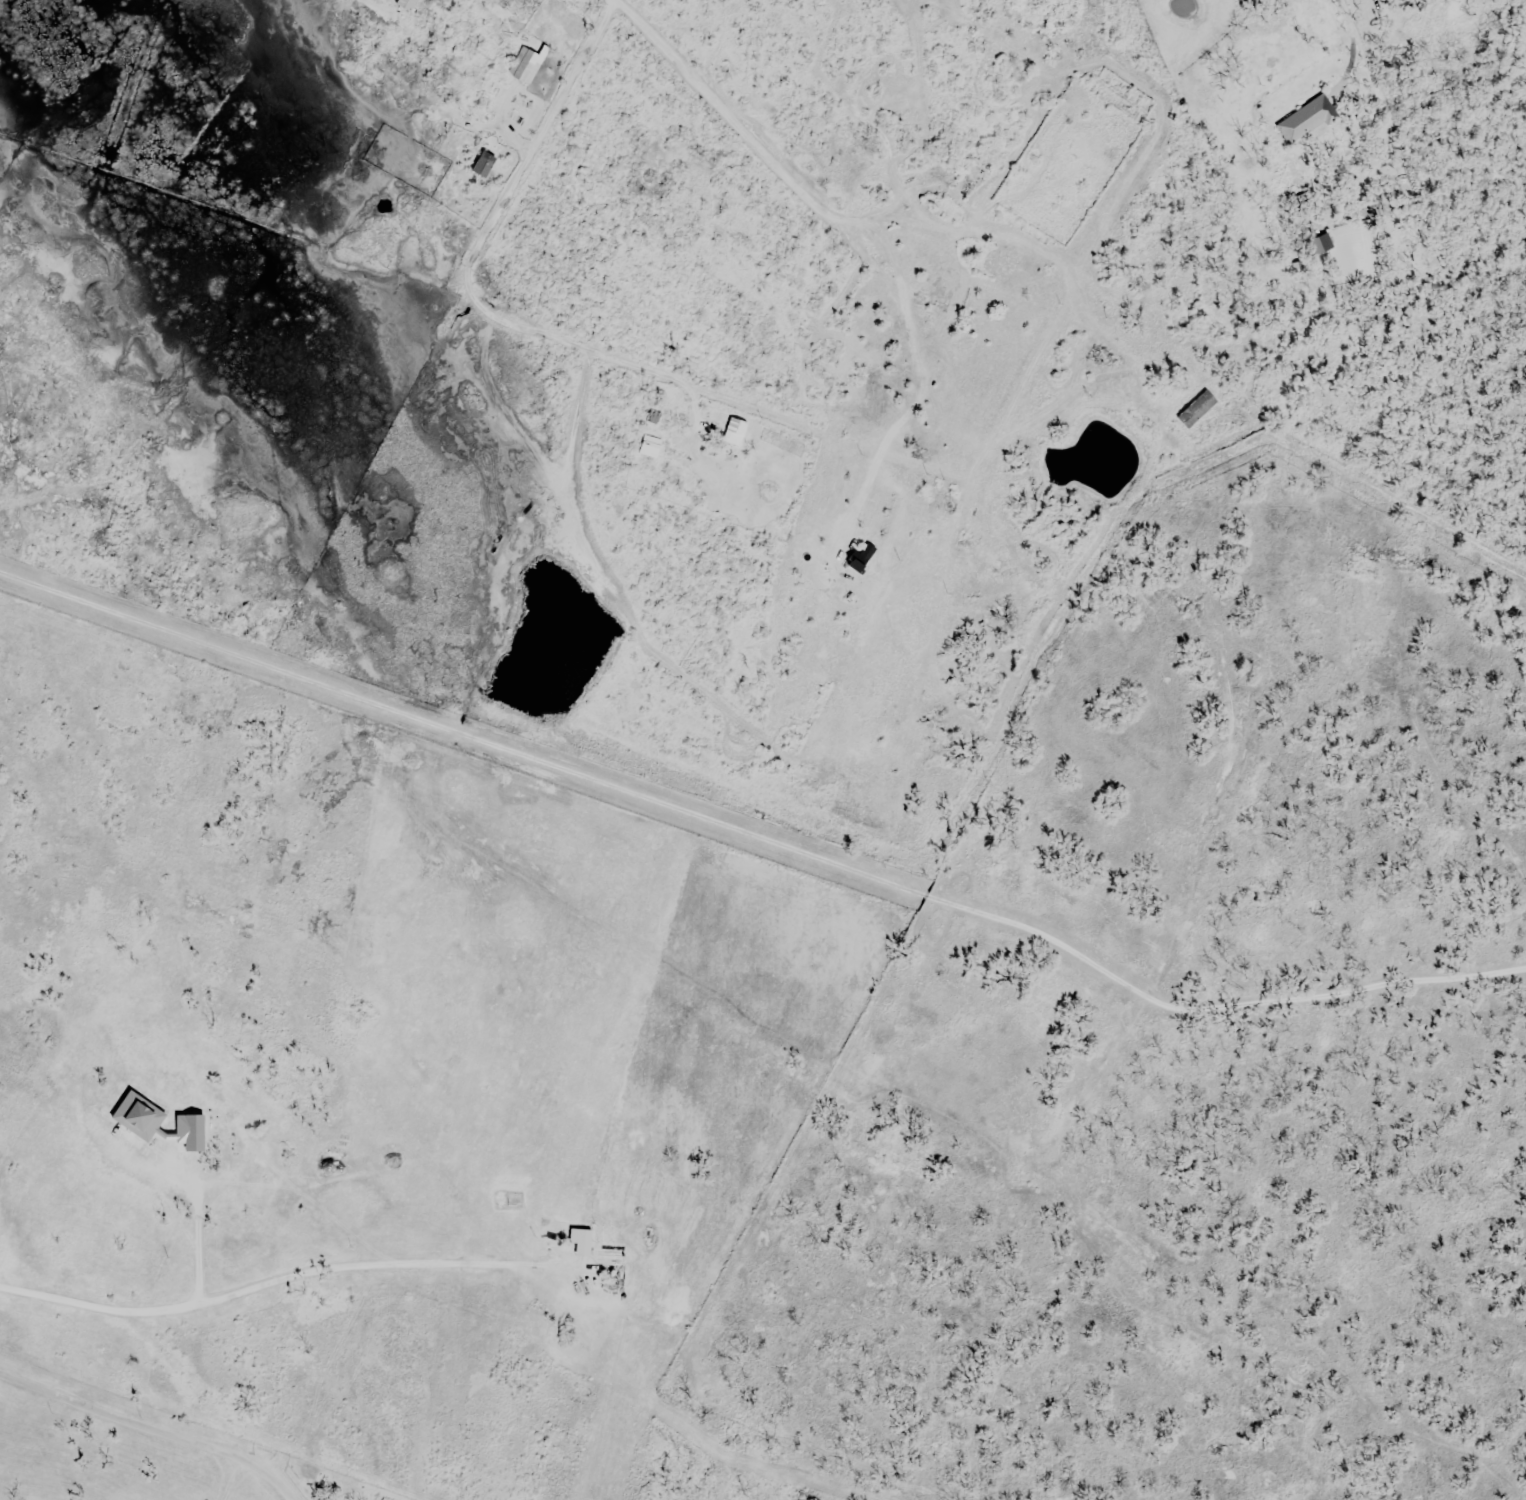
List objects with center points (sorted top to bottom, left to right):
road: (712, 102)
building: (1304, 121)
road: (540, 133)
building: (485, 164)
building: (970, 184)
building: (1322, 244)
building: (887, 316)
building: (1198, 409)
building: (650, 422)
building: (736, 432)
building: (865, 558)
building: (949, 782)
road: (757, 841)
building: (192, 1146)
building: (239, 1169)
building: (584, 1237)
road: (197, 1246)
building: (612, 1256)
road: (269, 1280)
road: (149, 1425)
building: (643, 1492)

